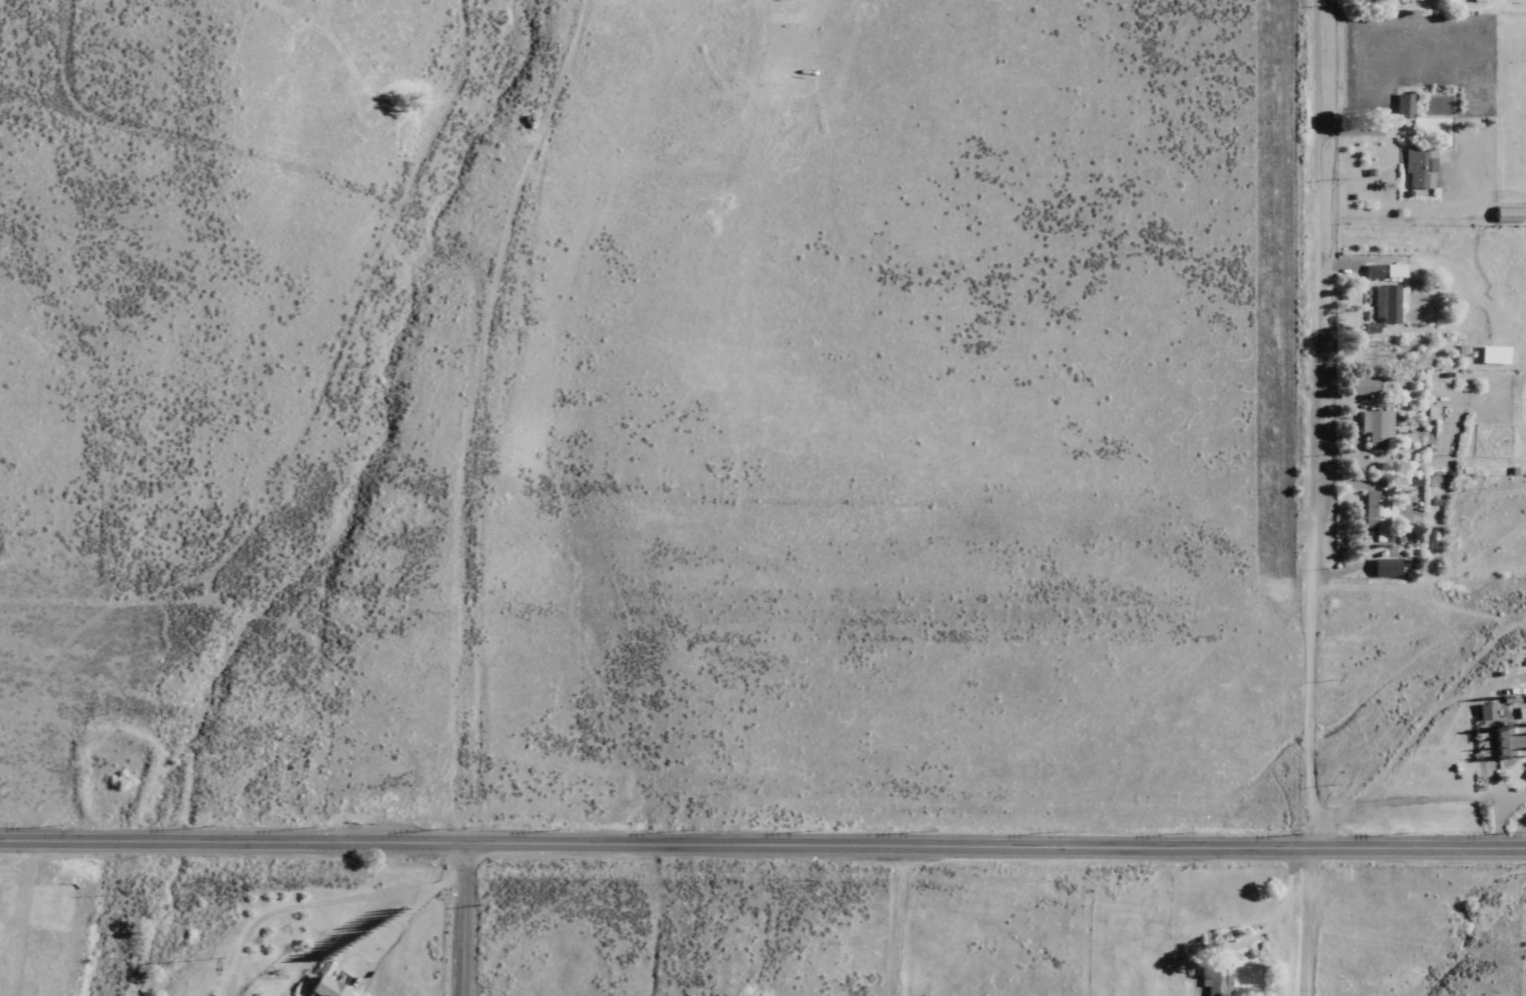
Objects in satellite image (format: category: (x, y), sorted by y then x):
building: (1404, 105)
building: (1419, 167)
building: (1374, 272)
building: (1386, 304)
building: (1493, 356)
building: (1362, 387)
building: (1375, 428)
road: (1307, 498)
building: (1380, 522)
building: (1383, 567)
building: (1485, 712)
building: (1511, 743)
road: (762, 838)
road: (461, 917)
building: (1218, 980)
building: (325, 988)

